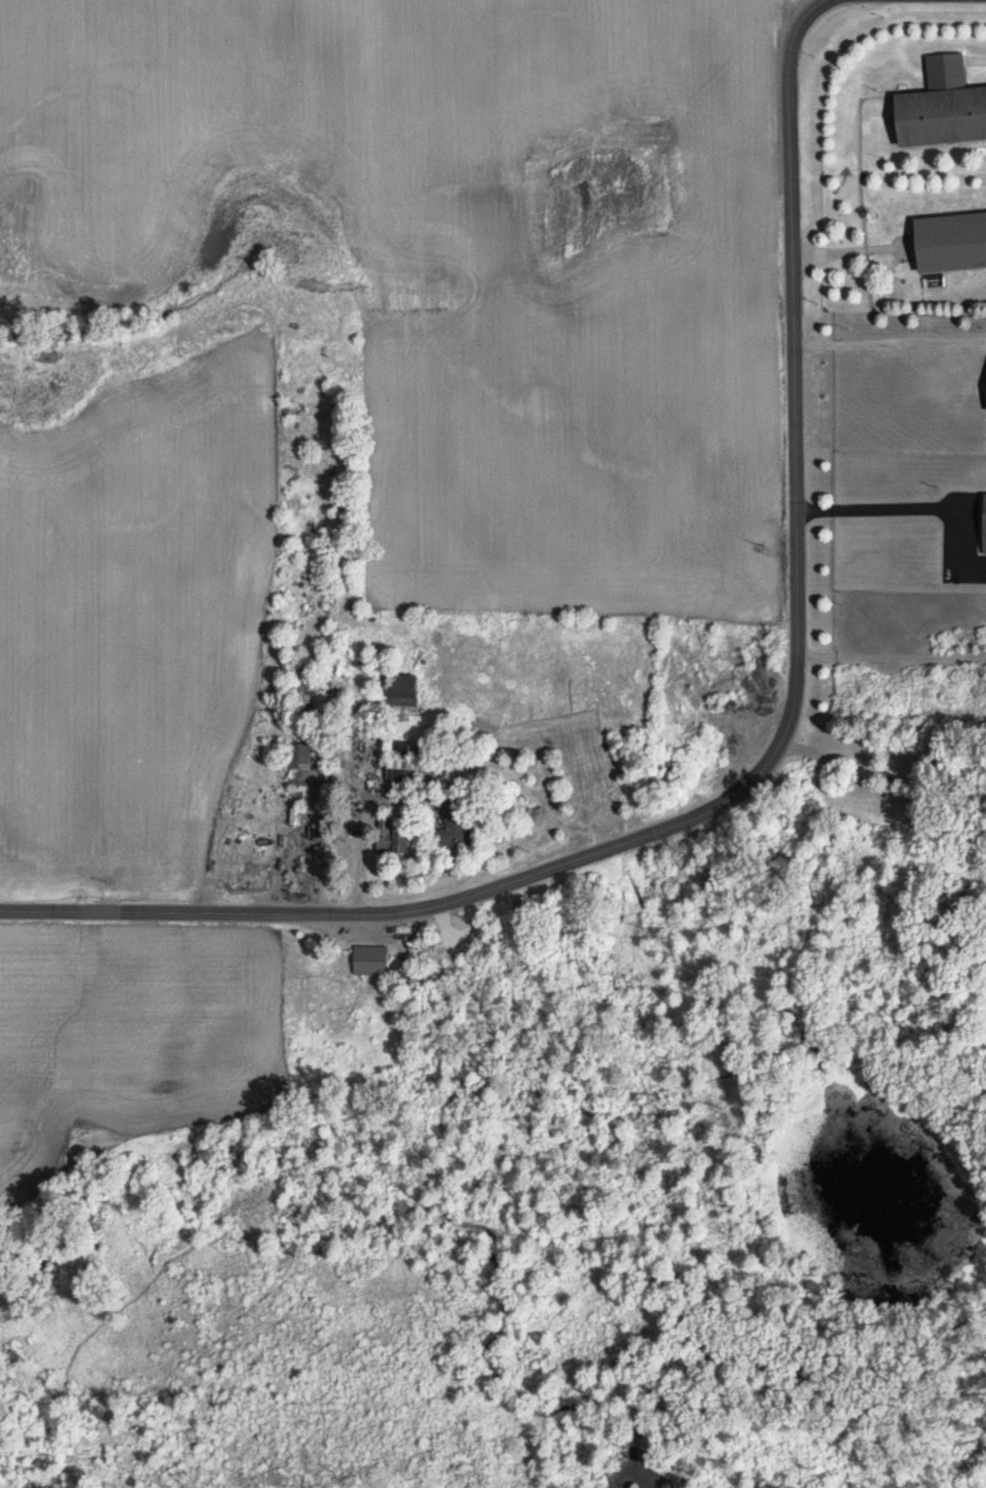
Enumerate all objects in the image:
building: (942, 106)
building: (952, 241)
building: (985, 401)
building: (983, 525)
building: (406, 691)
road: (789, 698)
building: (300, 764)
building: (456, 823)
building: (383, 824)
building: (319, 861)
building: (372, 960)

